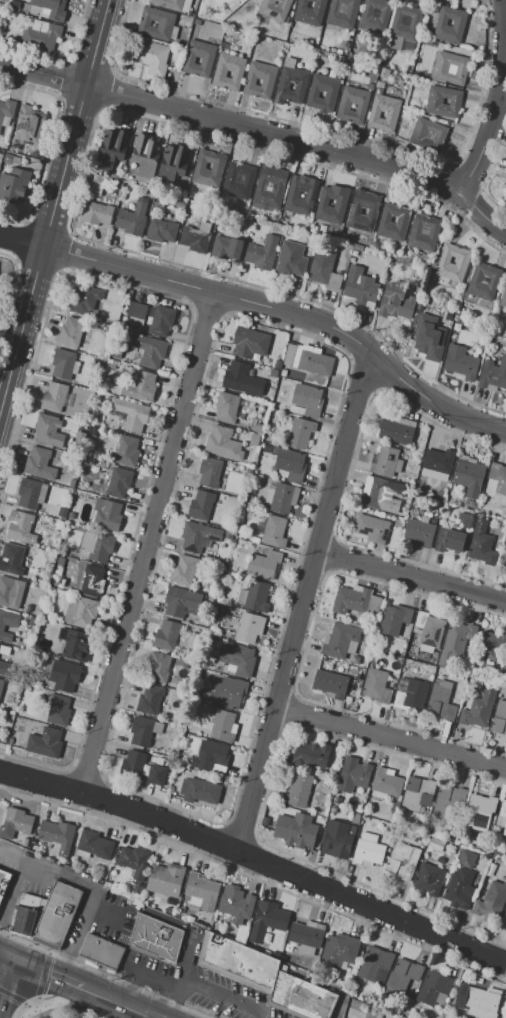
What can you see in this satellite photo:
building: (168, 4)
building: (274, 8)
building: (50, 9)
building: (309, 11)
building: (342, 13)
building: (375, 15)
building: (164, 24)
building: (404, 26)
building: (458, 26)
building: (40, 34)
building: (150, 56)
building: (199, 58)
building: (352, 63)
building: (450, 68)
building: (228, 70)
road: (44, 73)
building: (384, 73)
building: (260, 79)
building: (399, 82)
building: (290, 83)
building: (380, 84)
building: (370, 86)
building: (330, 92)
building: (396, 93)
road: (498, 100)
building: (434, 101)
building: (344, 107)
building: (6, 111)
building: (392, 115)
building: (27, 127)
building: (427, 135)
road: (304, 141)
building: (111, 148)
building: (23, 151)
building: (1, 153)
building: (146, 156)
building: (12, 159)
building: (173, 164)
building: (120, 166)
building: (217, 166)
building: (238, 180)
building: (14, 185)
building: (97, 185)
building: (278, 186)
building: (292, 195)
building: (505, 200)
building: (340, 203)
road: (55, 205)
building: (158, 205)
building: (180, 205)
building: (97, 213)
building: (355, 215)
building: (132, 219)
building: (402, 220)
building: (276, 228)
building: (323, 228)
building: (162, 231)
building: (423, 232)
building: (195, 239)
road: (22, 242)
building: (226, 247)
building: (359, 248)
building: (261, 252)
building: (291, 260)
building: (462, 260)
building: (0, 265)
building: (324, 271)
building: (484, 281)
building: (360, 286)
building: (503, 297)
building: (83, 298)
building: (396, 302)
road: (287, 313)
building: (137, 314)
building: (160, 320)
building: (71, 332)
building: (427, 335)
building: (249, 343)
building: (149, 351)
building: (116, 354)
building: (308, 359)
building: (460, 362)
building: (64, 364)
building: (277, 364)
building: (111, 365)
building: (273, 373)
building: (283, 373)
building: (493, 375)
building: (241, 380)
building: (140, 387)
building: (54, 396)
building: (306, 401)
building: (226, 407)
building: (64, 413)
building: (130, 414)
building: (274, 416)
building: (97, 420)
building: (259, 429)
building: (397, 430)
building: (48, 431)
building: (299, 433)
building: (79, 438)
building: (254, 439)
building: (223, 443)
building: (127, 451)
building: (288, 462)
building: (386, 462)
building: (438, 462)
building: (40, 463)
building: (103, 465)
building: (209, 472)
building: (469, 476)
building: (118, 482)
building: (497, 484)
building: (376, 492)
building: (31, 494)
building: (281, 497)
building: (201, 505)
building: (471, 505)
building: (62, 512)
building: (71, 515)
building: (106, 515)
building: (465, 520)
building: (22, 528)
building: (371, 528)
building: (273, 531)
building: (419, 532)
building: (226, 535)
building: (198, 536)
building: (255, 540)
building: (450, 540)
building: (481, 543)
road: (146, 544)
building: (97, 546)
building: (59, 557)
building: (503, 557)
building: (11, 558)
building: (264, 564)
building: (184, 569)
road: (409, 578)
building: (91, 580)
building: (10, 592)
building: (254, 596)
building: (356, 600)
building: (180, 601)
road: (301, 601)
building: (221, 608)
building: (80, 612)
building: (45, 615)
building: (394, 619)
building: (7, 625)
building: (249, 627)
building: (427, 630)
building: (166, 635)
building: (340, 641)
building: (455, 644)
building: (491, 645)
building: (76, 646)
building: (4, 651)
building: (435, 655)
building: (237, 659)
building: (354, 659)
building: (432, 660)
building: (410, 664)
building: (158, 666)
building: (4, 668)
building: (358, 674)
building: (64, 676)
building: (330, 684)
building: (1, 686)
building: (376, 686)
building: (502, 690)
building: (228, 692)
building: (410, 694)
building: (347, 699)
building: (149, 700)
building: (440, 700)
building: (479, 708)
building: (58, 710)
building: (499, 718)
building: (157, 726)
building: (223, 726)
building: (141, 731)
road: (390, 737)
building: (45, 743)
building: (213, 755)
building: (310, 755)
building: (132, 765)
building: (156, 775)
building: (353, 776)
building: (386, 783)
building: (297, 790)
building: (199, 791)
building: (417, 792)
building: (337, 800)
building: (447, 801)
building: (480, 808)
building: (333, 810)
building: (502, 816)
building: (356, 819)
building: (17, 824)
building: (295, 830)
building: (57, 835)
building: (337, 840)
building: (457, 841)
building: (25, 842)
building: (435, 844)
building: (93, 845)
building: (368, 850)
building: (450, 853)
building: (466, 859)
building: (132, 860)
road: (255, 860)
building: (402, 861)
building: (505, 878)
building: (429, 879)
building: (166, 880)
building: (3, 881)
road: (91, 888)
building: (138, 888)
building: (459, 889)
building: (201, 891)
road: (12, 895)
building: (491, 900)
building: (237, 906)
building: (181, 910)
building: (170, 911)
building: (25, 914)
building: (57, 915)
building: (189, 919)
road: (170, 920)
building: (504, 920)
building: (267, 921)
building: (218, 927)
building: (307, 936)
building: (156, 937)
building: (101, 951)
building: (339, 951)
road: (6, 955)
traffic signals: (12, 958)
building: (375, 965)
road: (48, 973)
road: (150, 975)
building: (266, 978)
building: (403, 979)
road: (6, 982)
road: (171, 983)
building: (434, 989)
road: (207, 991)
building: (353, 993)
road: (99, 994)
building: (477, 1001)
road: (71, 1004)
road: (135, 1008)
building: (379, 1015)
building: (391, 1016)

